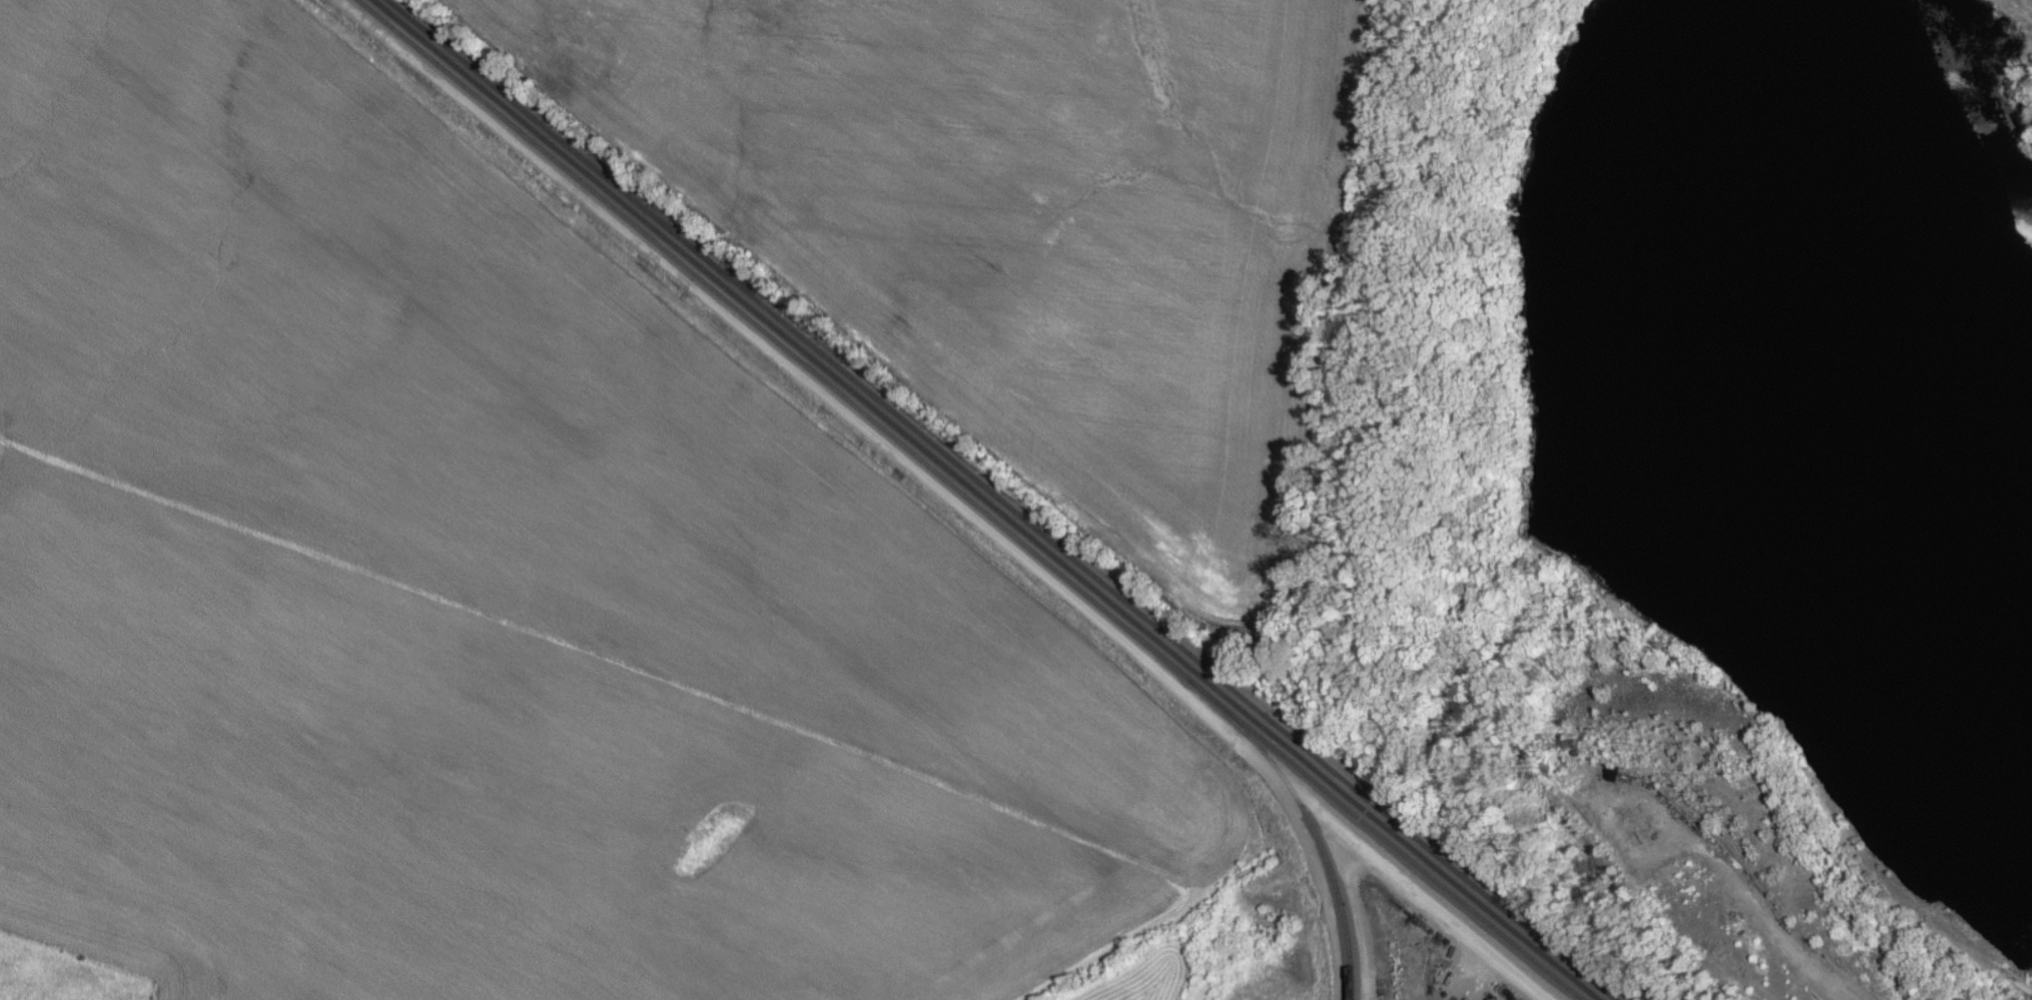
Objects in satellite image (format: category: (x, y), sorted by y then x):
railway: (984, 500)
railway: (999, 500)

